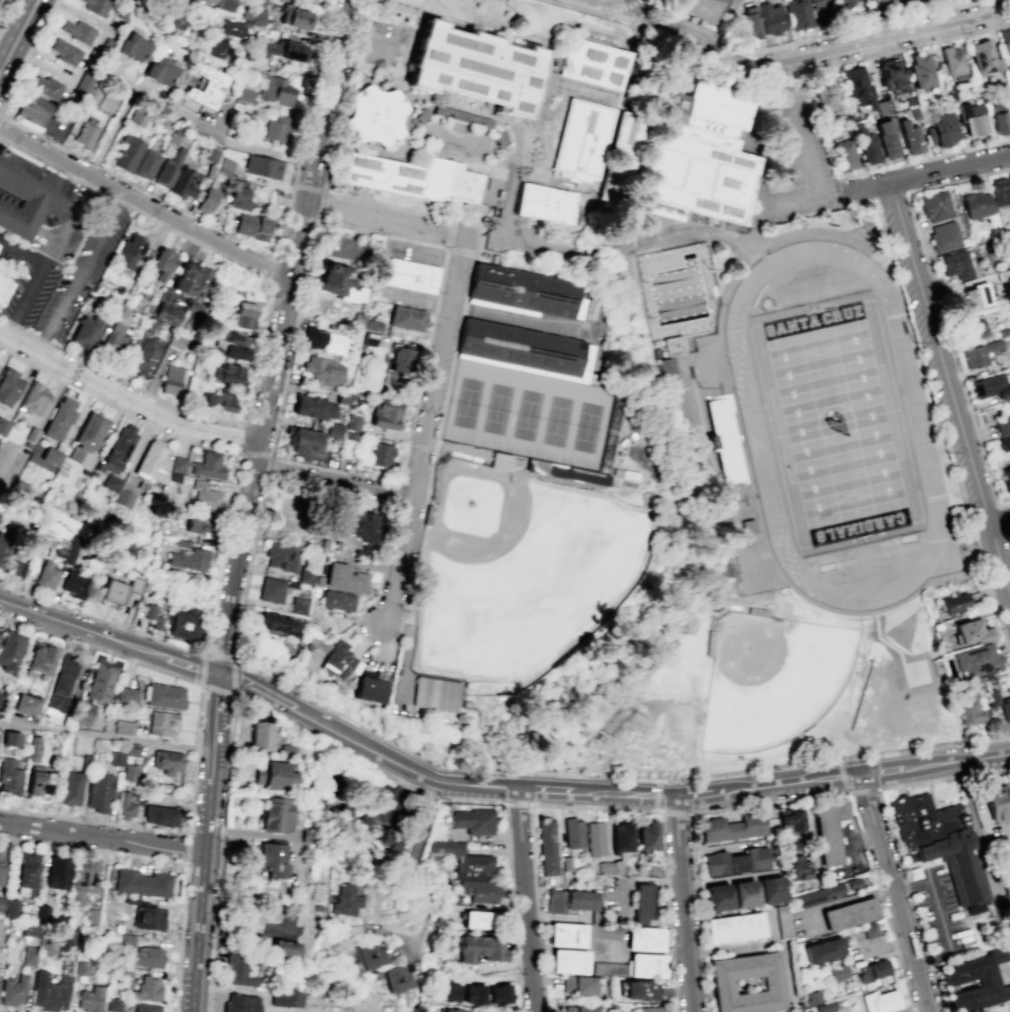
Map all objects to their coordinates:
building: (170, 0)
building: (283, 0)
road: (32, 1)
road: (596, 1)
building: (905, 1)
road: (614, 2)
building: (225, 3)
building: (842, 4)
building: (880, 4)
building: (95, 6)
building: (695, 8)
building: (246, 9)
building: (257, 11)
building: (819, 11)
road: (78, 12)
building: (123, 12)
road: (7, 14)
building: (797, 14)
building: (293, 15)
building: (172, 16)
road: (446, 16)
road: (644, 16)
building: (771, 17)
road: (728, 24)
building: (750, 25)
building: (233, 27)
building: (77, 30)
road: (923, 31)
road: (19, 35)
road: (369, 39)
road: (811, 40)
road: (666, 41)
building: (1004, 41)
building: (132, 43)
parking lot: (385, 44)
road: (409, 45)
building: (285, 47)
building: (219, 48)
road: (402, 48)
road: (896, 49)
building: (62, 50)
road: (724, 52)
road: (28, 54)
building: (983, 57)
road: (41, 61)
building: (953, 62)
building: (592, 63)
building: (475, 67)
building: (159, 68)
building: (921, 70)
building: (1008, 73)
building: (894, 76)
building: (84, 82)
building: (43, 85)
building: (858, 86)
building: (275, 88)
building: (204, 89)
building: (827, 91)
building: (245, 93)
building: (92, 94)
building: (948, 94)
building: (780, 98)
building: (107, 100)
building: (31, 107)
building: (136, 113)
building: (375, 115)
building: (971, 118)
building: (999, 122)
building: (277, 127)
building: (940, 130)
road: (109, 131)
building: (86, 134)
building: (171, 137)
building: (910, 137)
road: (46, 138)
building: (886, 138)
road: (254, 148)
building: (597, 148)
building: (869, 149)
building: (127, 151)
building: (210, 153)
building: (845, 155)
building: (704, 156)
road: (807, 157)
parking lot: (808, 157)
road: (927, 161)
building: (145, 162)
building: (226, 162)
building: (263, 166)
building: (168, 167)
building: (414, 178)
building: (183, 181)
road: (915, 181)
road: (308, 189)
building: (1000, 191)
building: (27, 196)
building: (237, 196)
building: (207, 199)
road: (144, 203)
building: (977, 204)
building: (550, 205)
building: (935, 206)
road: (321, 207)
road: (773, 212)
road: (300, 217)
road: (384, 220)
road: (71, 223)
building: (252, 226)
road: (282, 230)
road: (695, 230)
road: (489, 233)
building: (944, 236)
building: (1009, 236)
road: (500, 237)
road: (447, 246)
road: (603, 247)
building: (345, 248)
building: (129, 250)
road: (24, 254)
road: (744, 260)
parking lot: (65, 262)
building: (161, 262)
building: (955, 264)
road: (274, 270)
road: (82, 273)
building: (410, 274)
building: (192, 279)
building: (339, 279)
building: (4, 288)
building: (524, 291)
building: (973, 298)
road: (27, 302)
building: (192, 306)
road: (942, 308)
building: (240, 309)
building: (166, 313)
building: (407, 316)
building: (359, 319)
building: (374, 323)
building: (85, 330)
building: (973, 330)
building: (1003, 330)
road: (264, 333)
road: (279, 335)
building: (115, 338)
building: (370, 338)
building: (326, 339)
building: (174, 341)
building: (231, 344)
building: (674, 345)
building: (524, 349)
building: (980, 353)
building: (144, 358)
building: (401, 358)
building: (1008, 359)
road: (438, 368)
building: (324, 370)
building: (670, 371)
building: (227, 372)
road: (927, 376)
building: (170, 379)
parking lot: (936, 384)
building: (9, 387)
building: (990, 387)
road: (950, 389)
building: (344, 397)
building: (34, 398)
road: (125, 399)
building: (228, 399)
building: (313, 406)
building: (386, 413)
park: (536, 415)
building: (59, 419)
building: (355, 422)
park: (835, 424)
building: (3, 425)
building: (1003, 426)
building: (335, 430)
building: (32, 434)
building: (351, 435)
building: (87, 436)
road: (243, 437)
building: (726, 439)
building: (305, 442)
building: (1003, 443)
building: (118, 448)
road: (256, 454)
road: (271, 454)
building: (381, 454)
track: (924, 454)
building: (45, 459)
building: (500, 461)
building: (152, 462)
building: (177, 464)
building: (208, 466)
road: (269, 467)
building: (1005, 478)
building: (112, 483)
road: (333, 483)
road: (314, 489)
building: (205, 496)
building: (124, 498)
road: (1003, 521)
building: (200, 523)
building: (361, 524)
road: (1000, 525)
road: (275, 526)
building: (748, 526)
road: (226, 527)
road: (1008, 536)
building: (333, 541)
building: (3, 545)
building: (70, 551)
building: (282, 556)
building: (189, 559)
road: (401, 568)
building: (16, 569)
building: (320, 570)
building: (307, 573)
park: (516, 574)
building: (46, 575)
building: (346, 577)
building: (74, 584)
building: (118, 590)
building: (272, 591)
building: (337, 601)
building: (954, 602)
building: (299, 606)
building: (152, 616)
building: (278, 623)
building: (182, 624)
road: (73, 625)
building: (971, 631)
building: (9, 651)
road: (217, 654)
building: (40, 658)
building: (338, 660)
building: (976, 661)
road: (181, 662)
road: (201, 667)
traffic signals: (218, 673)
road: (232, 676)
building: (101, 683)
park: (765, 683)
building: (62, 685)
road: (217, 688)
building: (370, 690)
building: (126, 694)
building: (435, 694)
building: (163, 695)
road: (277, 698)
building: (25, 706)
building: (969, 708)
road: (216, 711)
building: (1005, 711)
building: (83, 714)
building: (161, 724)
building: (122, 727)
road: (106, 735)
building: (259, 736)
road: (318, 736)
building: (9, 739)
building: (32, 748)
road: (194, 748)
building: (132, 749)
building: (287, 751)
building: (115, 758)
road: (966, 759)
building: (85, 760)
building: (168, 762)
road: (891, 768)
road: (829, 771)
building: (128, 772)
building: (271, 775)
road: (843, 775)
building: (9, 777)
building: (38, 781)
road: (456, 781)
road: (831, 783)
road: (760, 785)
building: (69, 788)
road: (863, 789)
building: (100, 791)
road: (698, 793)
road: (398, 794)
road: (632, 794)
parking lot: (385, 796)
road: (517, 802)
building: (126, 804)
building: (997, 804)
road: (591, 806)
road: (719, 808)
road: (674, 810)
building: (274, 814)
building: (160, 816)
building: (370, 819)
building: (790, 819)
building: (474, 821)
building: (733, 827)
building: (828, 830)
building: (574, 833)
road: (891, 835)
road: (101, 836)
building: (392, 837)
building: (622, 837)
building: (647, 837)
building: (595, 838)
road: (986, 844)
road: (187, 847)
building: (547, 847)
building: (944, 847)
road: (168, 859)
building: (270, 859)
building: (736, 861)
building: (1, 864)
road: (417, 864)
building: (606, 867)
building: (798, 867)
building: (25, 873)
building: (57, 873)
building: (83, 880)
road: (201, 880)
building: (141, 882)
road: (910, 882)
building: (770, 889)
building: (482, 890)
road: (878, 891)
road: (893, 892)
building: (744, 893)
building: (817, 894)
building: (717, 897)
road: (528, 899)
building: (345, 900)
road: (839, 900)
building: (570, 901)
building: (643, 902)
building: (1, 903)
road: (682, 903)
road: (937, 906)
building: (9, 908)
parking lot: (940, 909)
building: (40, 912)
building: (849, 914)
building: (149, 917)
building: (91, 918)
building: (481, 919)
building: (783, 922)
parking lot: (799, 925)
building: (733, 927)
building: (29, 929)
building: (870, 929)
road: (392, 931)
building: (604, 931)
building: (567, 934)
building: (64, 938)
building: (644, 938)
building: (124, 940)
building: (285, 948)
building: (481, 948)
building: (823, 950)
road: (896, 954)
building: (372, 955)
building: (144, 956)
building: (28, 957)
building: (569, 961)
building: (645, 965)
building: (81, 967)
building: (608, 968)
building: (872, 970)
building: (838, 972)
building: (398, 978)
building: (952, 980)
building: (720, 984)
building: (578, 985)
building: (146, 988)
building: (13, 990)
building: (639, 990)
building: (449, 991)
building: (49, 992)
building: (499, 993)
building: (475, 994)
building: (812, 997)
building: (286, 998)
building: (89, 1000)
building: (880, 1001)
building: (241, 1003)
building: (113, 1004)
building: (145, 1007)
building: (825, 1007)
building: (582, 1008)
building: (653, 1009)
building: (450, 1010)
building: (978, 1011)

